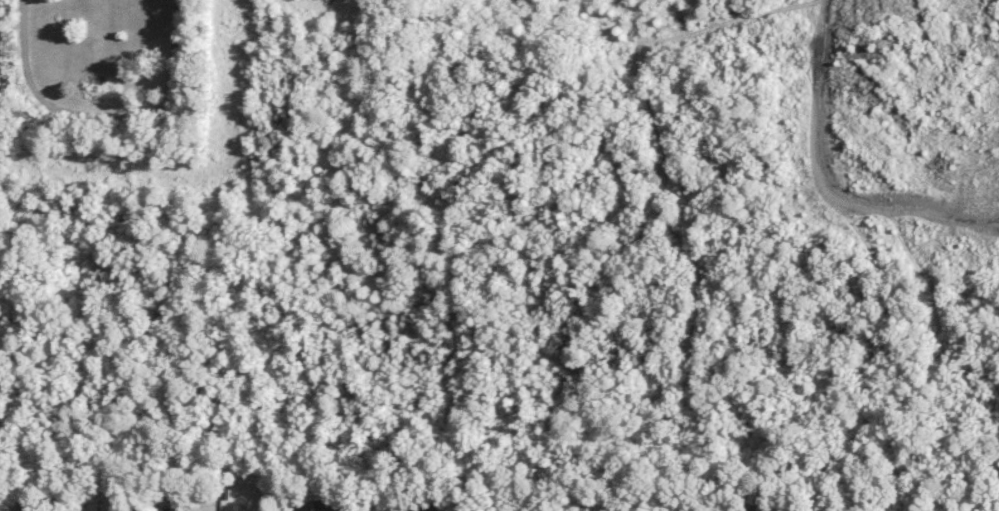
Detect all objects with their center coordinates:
road: (374, 507)

